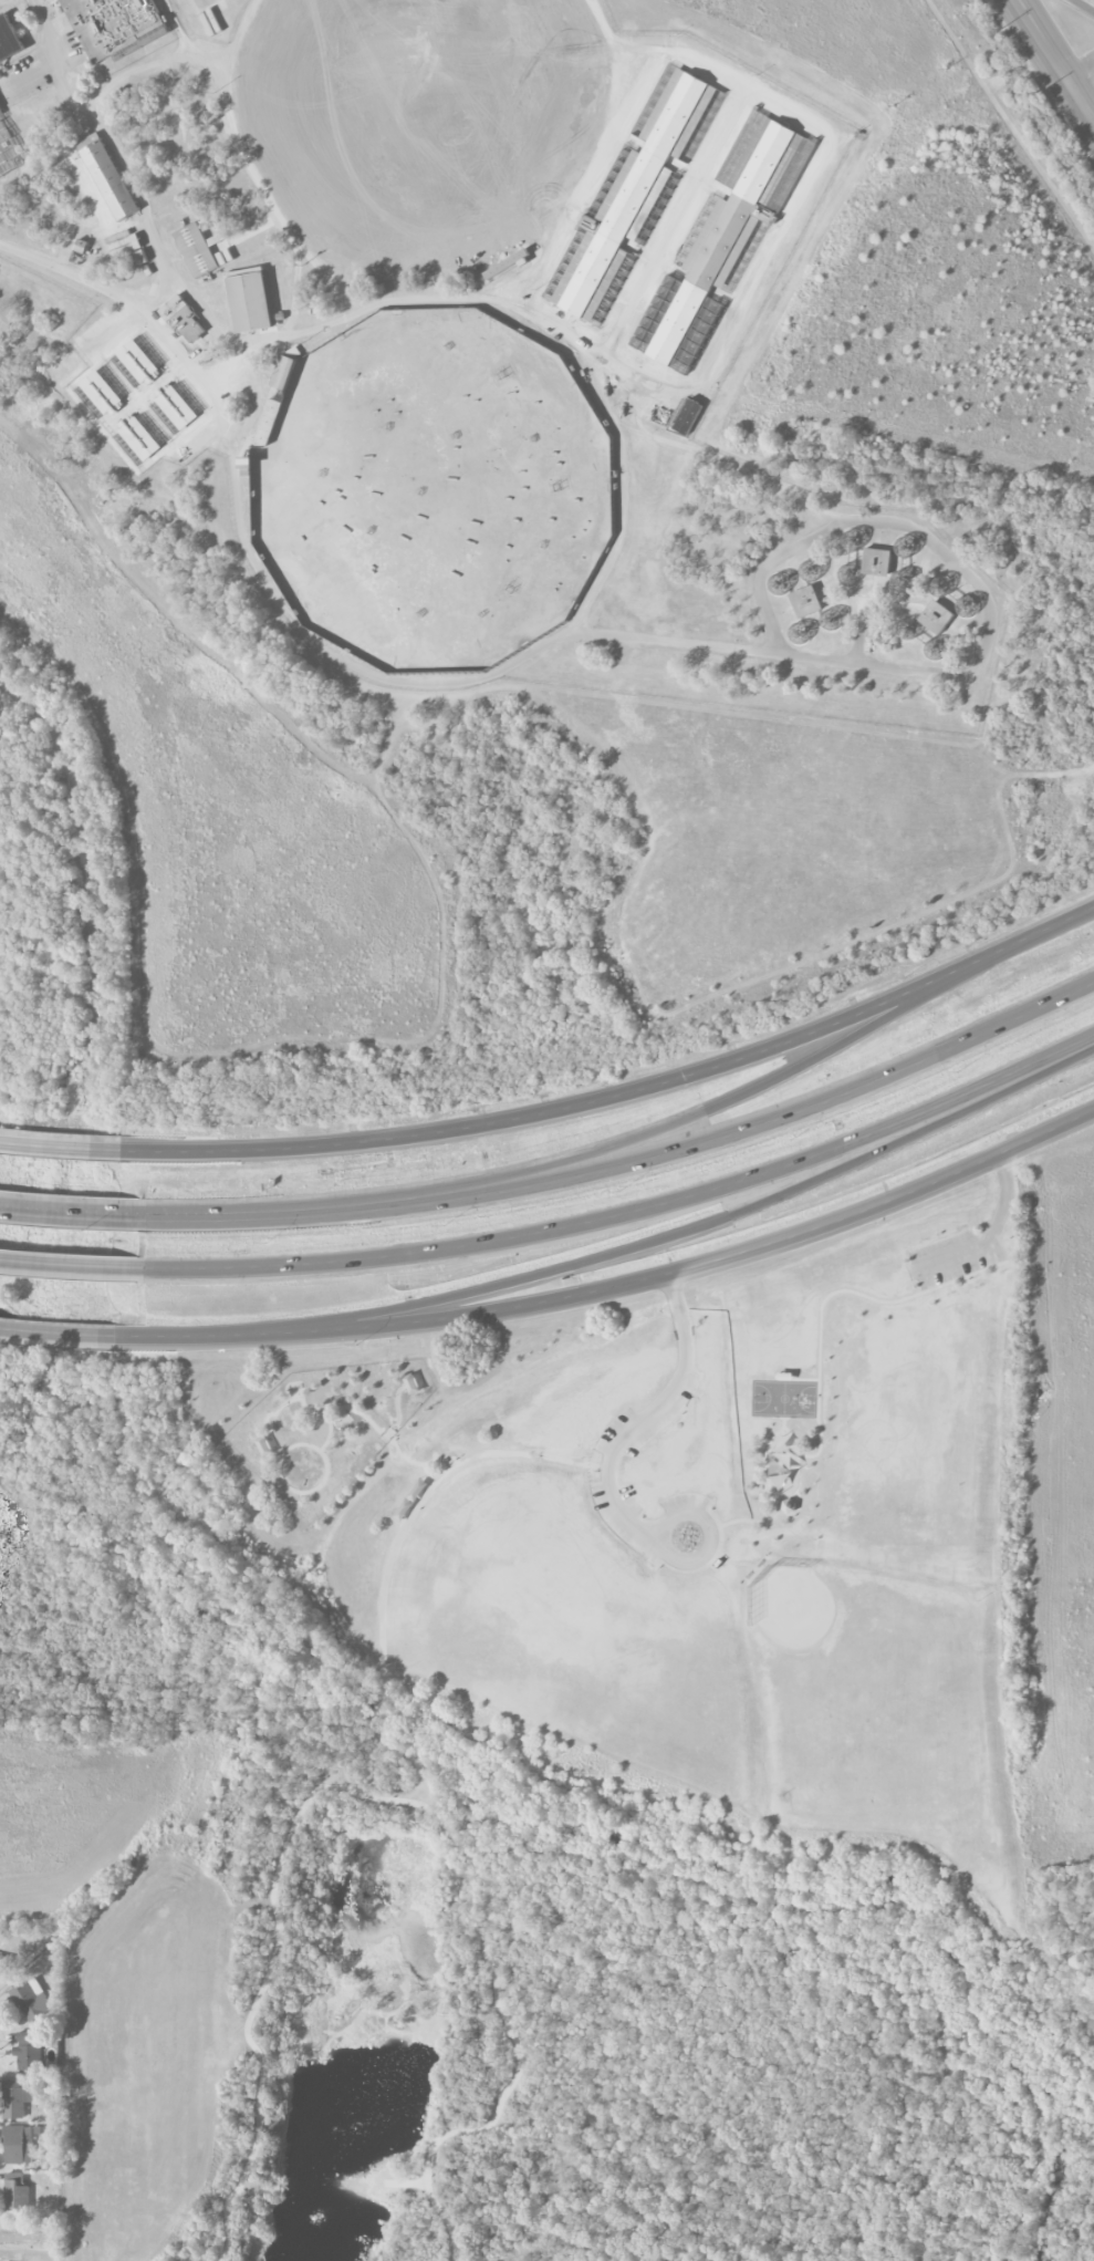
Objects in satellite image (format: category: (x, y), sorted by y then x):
parking lot: (6, 2)
road: (201, 3)
road: (1084, 6)
building: (116, 25)
building: (9, 40)
road: (60, 55)
road: (1055, 61)
road: (149, 66)
road: (1080, 69)
road: (65, 89)
building: (0, 107)
building: (10, 147)
road: (598, 163)
road: (819, 167)
road: (251, 170)
building: (110, 174)
road: (139, 193)
building: (632, 193)
road: (676, 220)
building: (721, 243)
building: (126, 245)
building: (198, 248)
building: (84, 250)
building: (507, 265)
road: (459, 297)
building: (251, 299)
road: (196, 304)
building: (227, 310)
building: (188, 325)
road: (111, 330)
building: (139, 361)
building: (283, 372)
road: (254, 376)
building: (102, 392)
building: (176, 405)
building: (689, 415)
road: (210, 428)
building: (139, 436)
road: (729, 463)
road: (621, 498)
building: (876, 559)
road: (957, 566)
building: (806, 600)
road: (601, 616)
building: (937, 616)
road: (294, 625)
road: (862, 632)
road: (623, 1098)
road: (737, 1099)
road: (794, 1112)
road: (59, 1147)
road: (70, 1211)
road: (310, 1211)
road: (634, 1214)
road: (710, 1227)
road: (990, 1238)
parking lot: (958, 1255)
road: (72, 1265)
road: (632, 1282)
road: (72, 1336)
building: (411, 1383)
road: (819, 1384)
park: (784, 1399)
road: (340, 1407)
road: (396, 1409)
road: (646, 1415)
road: (783, 1423)
road: (329, 1432)
road: (768, 1445)
building: (265, 1446)
road: (288, 1449)
parking lot: (608, 1465)
building: (782, 1469)
building: (417, 1490)
building: (404, 1510)
road: (712, 1533)
road: (389, 1562)
park: (858, 1684)
park: (566, 1785)
road: (388, 1800)
building: (3, 1964)
building: (31, 2001)
building: (30, 2050)
park: (148, 2050)
building: (15, 2098)
building: (18, 2145)
building: (17, 2192)
road: (29, 2239)

